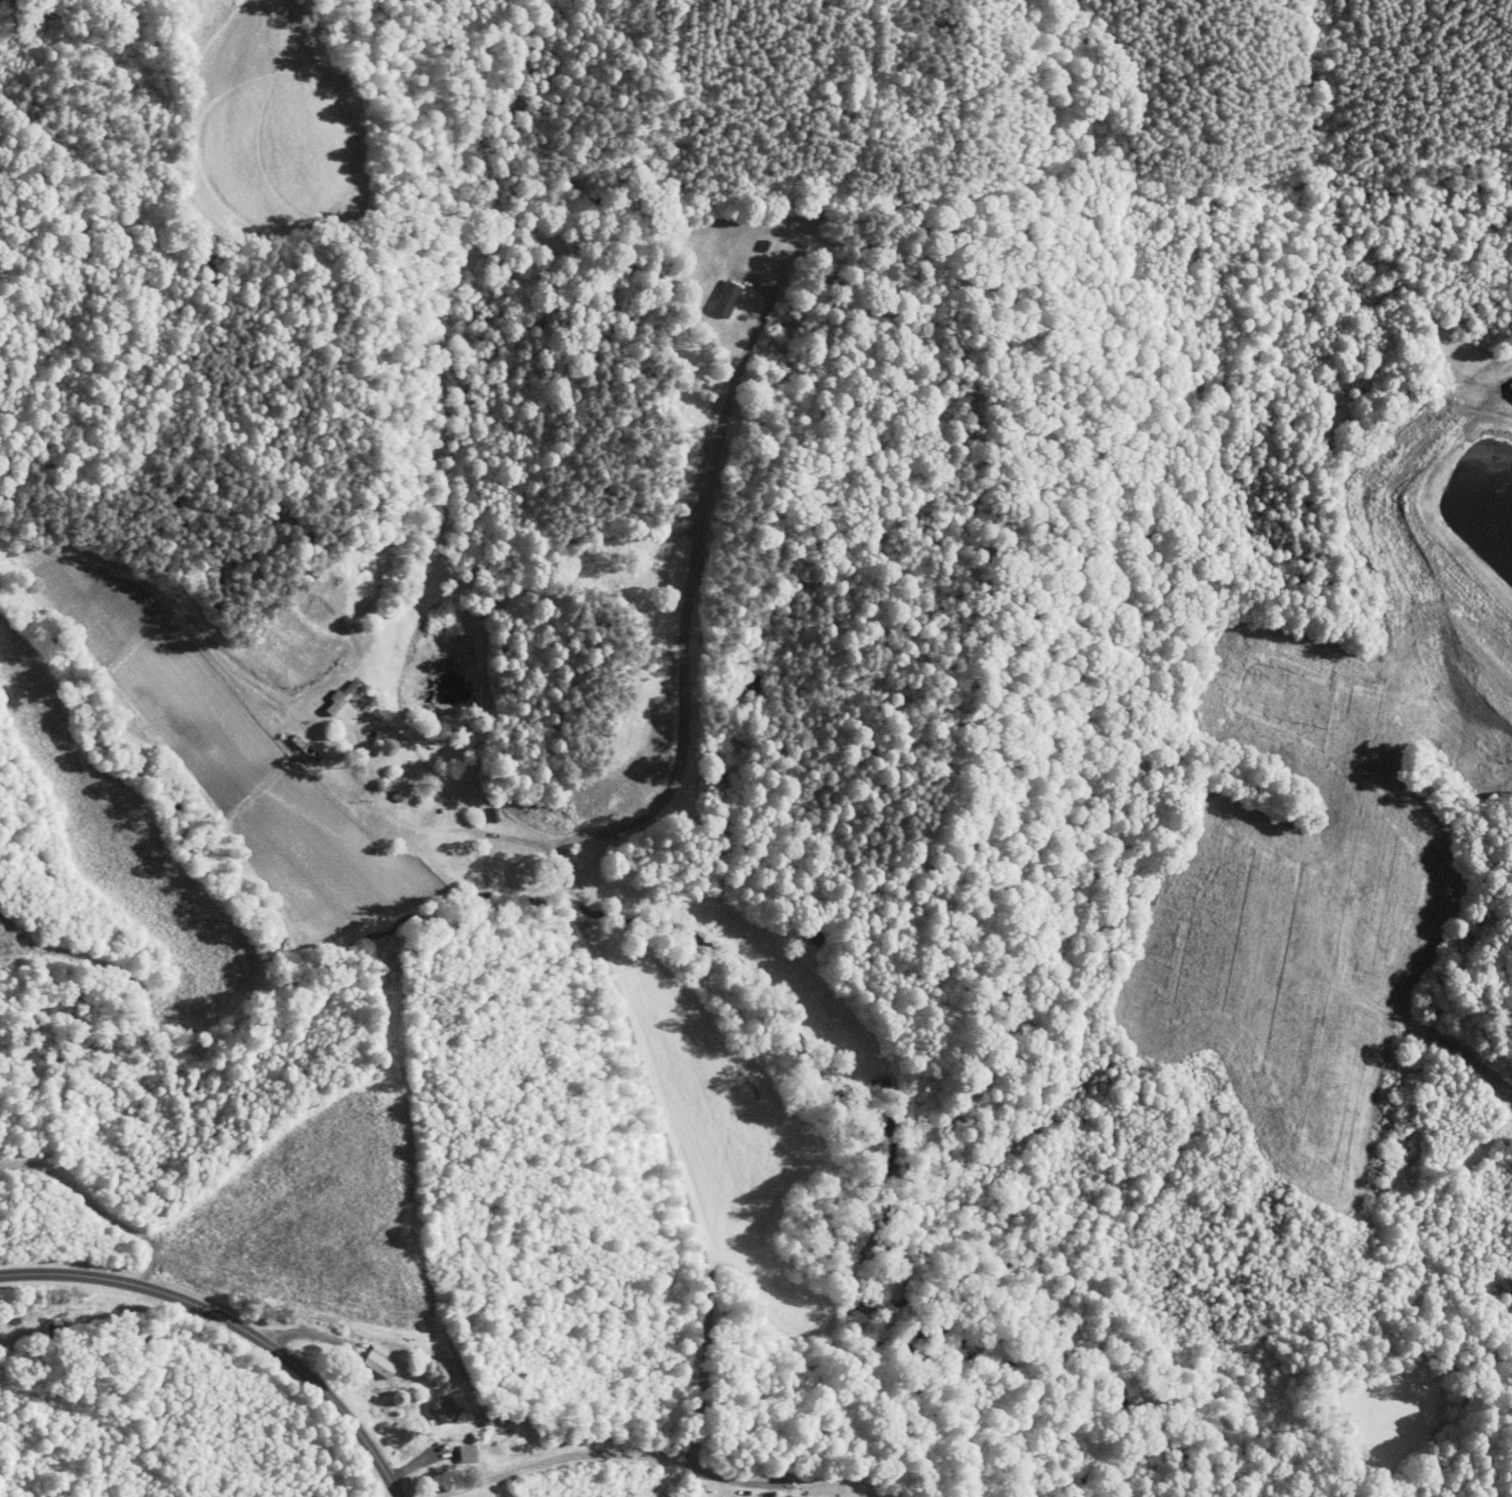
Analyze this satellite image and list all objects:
building: (712, 292)
building: (1506, 380)
road: (695, 571)
building: (327, 691)
building: (865, 1077)
road: (669, 1163)
road: (232, 1324)
road: (303, 1334)
building: (364, 1354)
building: (428, 1403)
building: (453, 1446)
road: (401, 1458)
road: (715, 1473)

